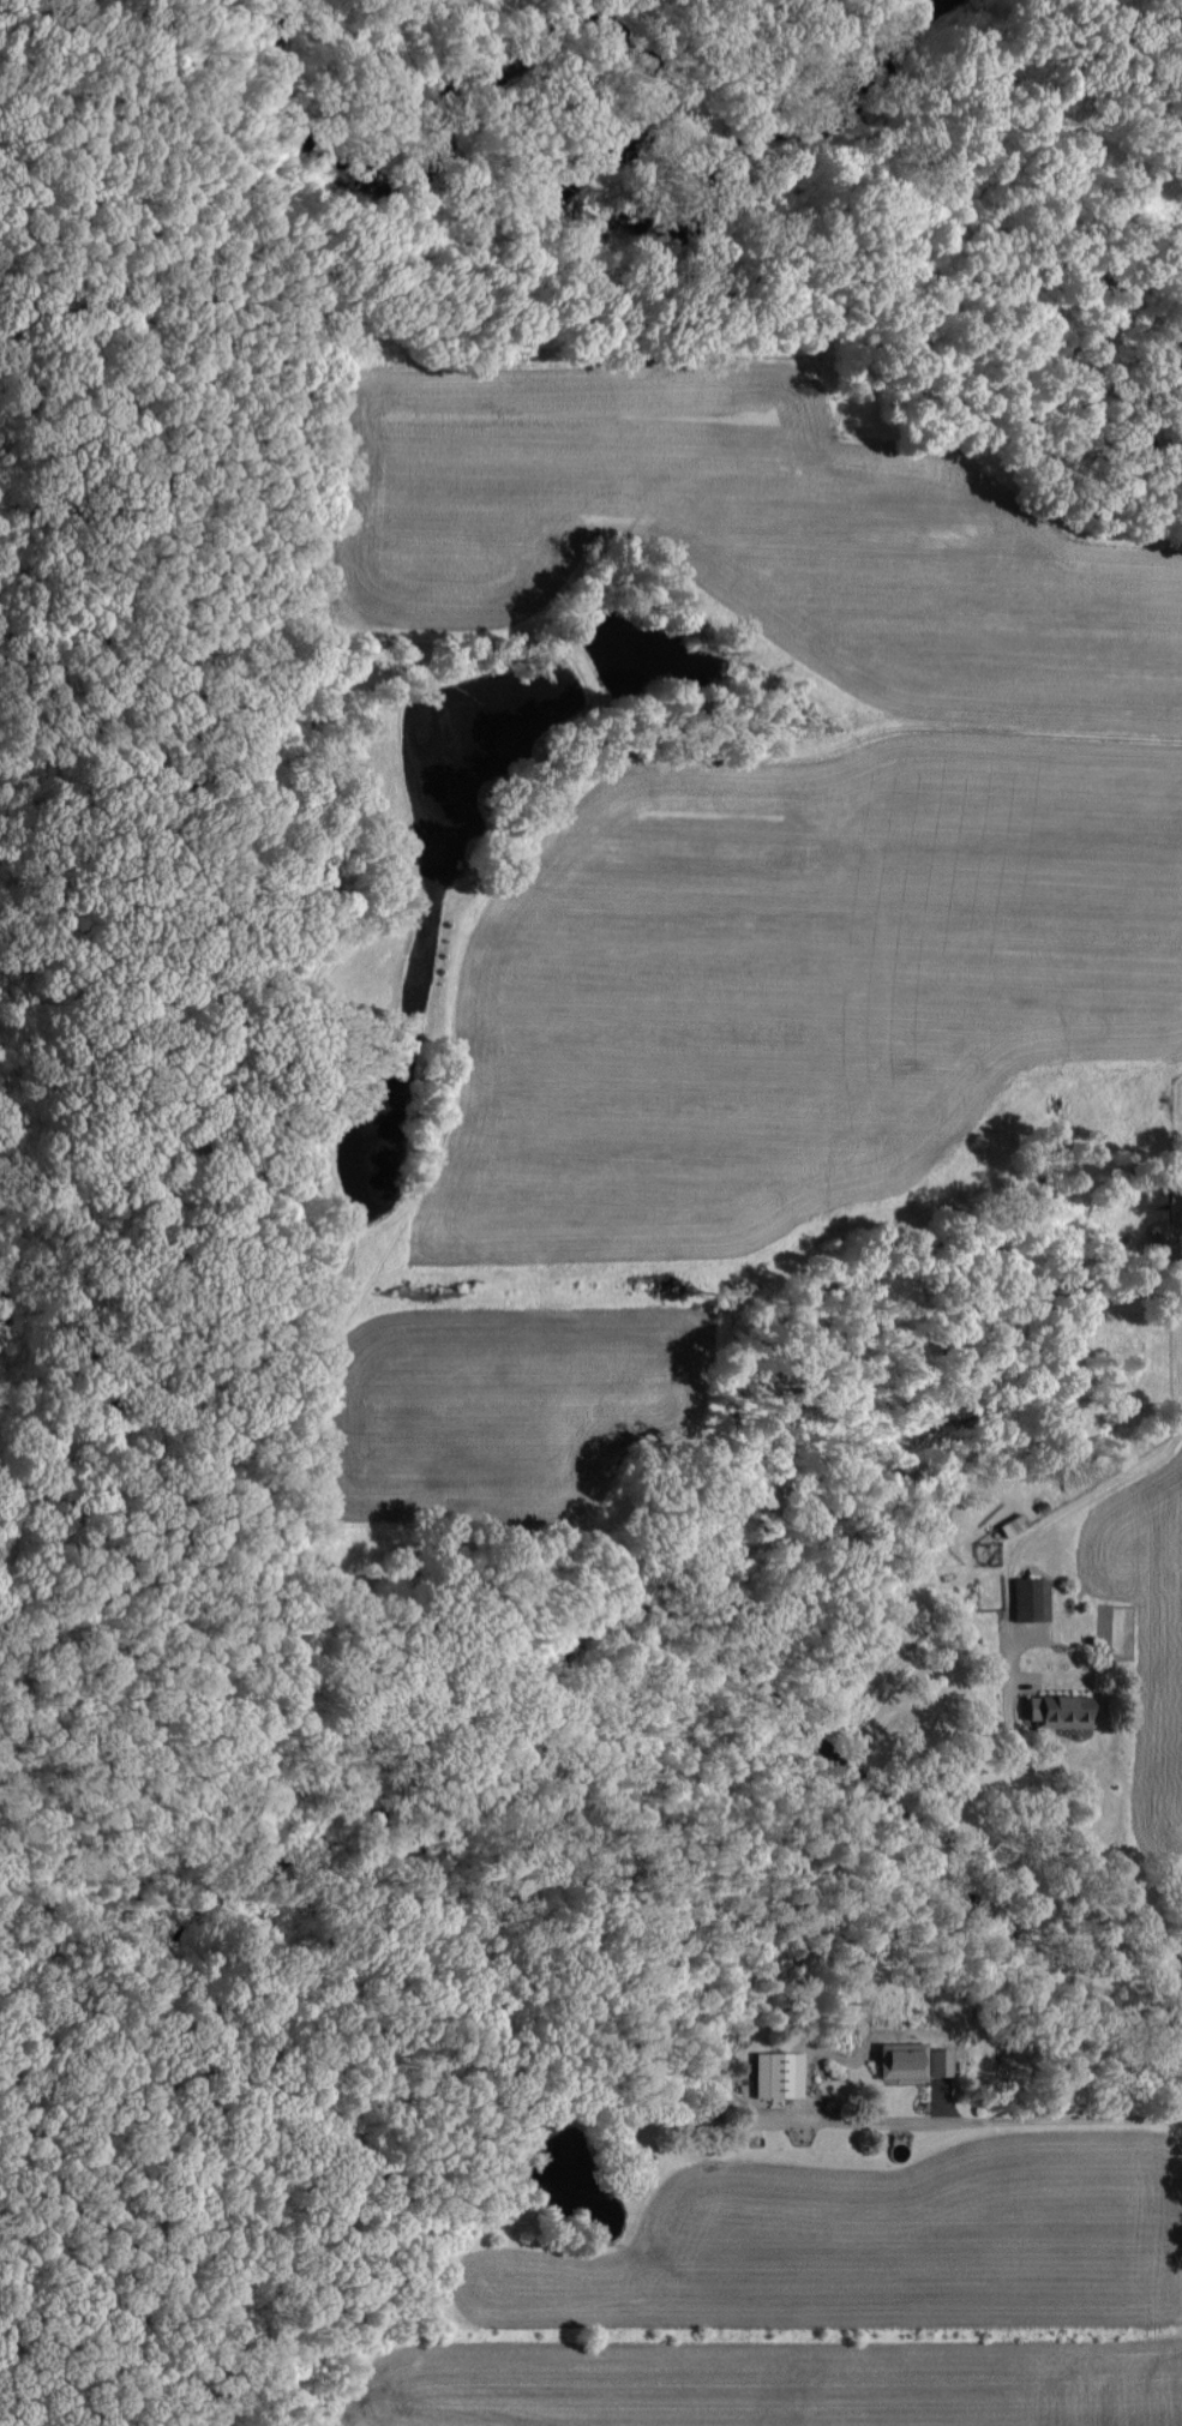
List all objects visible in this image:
building: (1028, 1597)
road: (1013, 1610)
building: (1055, 1709)
building: (908, 2059)
building: (775, 2073)
road: (985, 2119)

